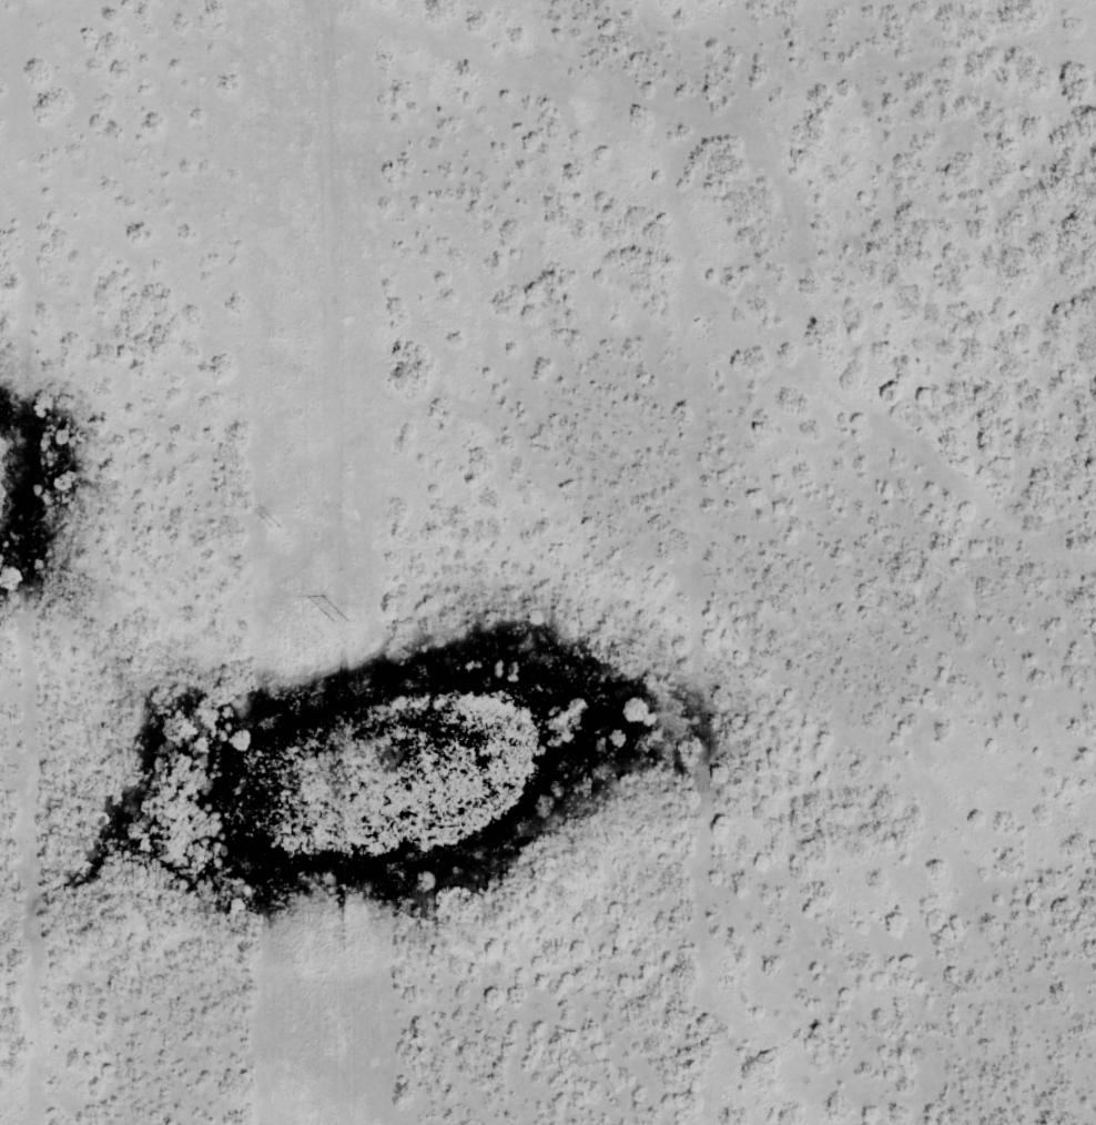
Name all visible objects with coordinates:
power tower: (276, 528)
power tower: (341, 621)

